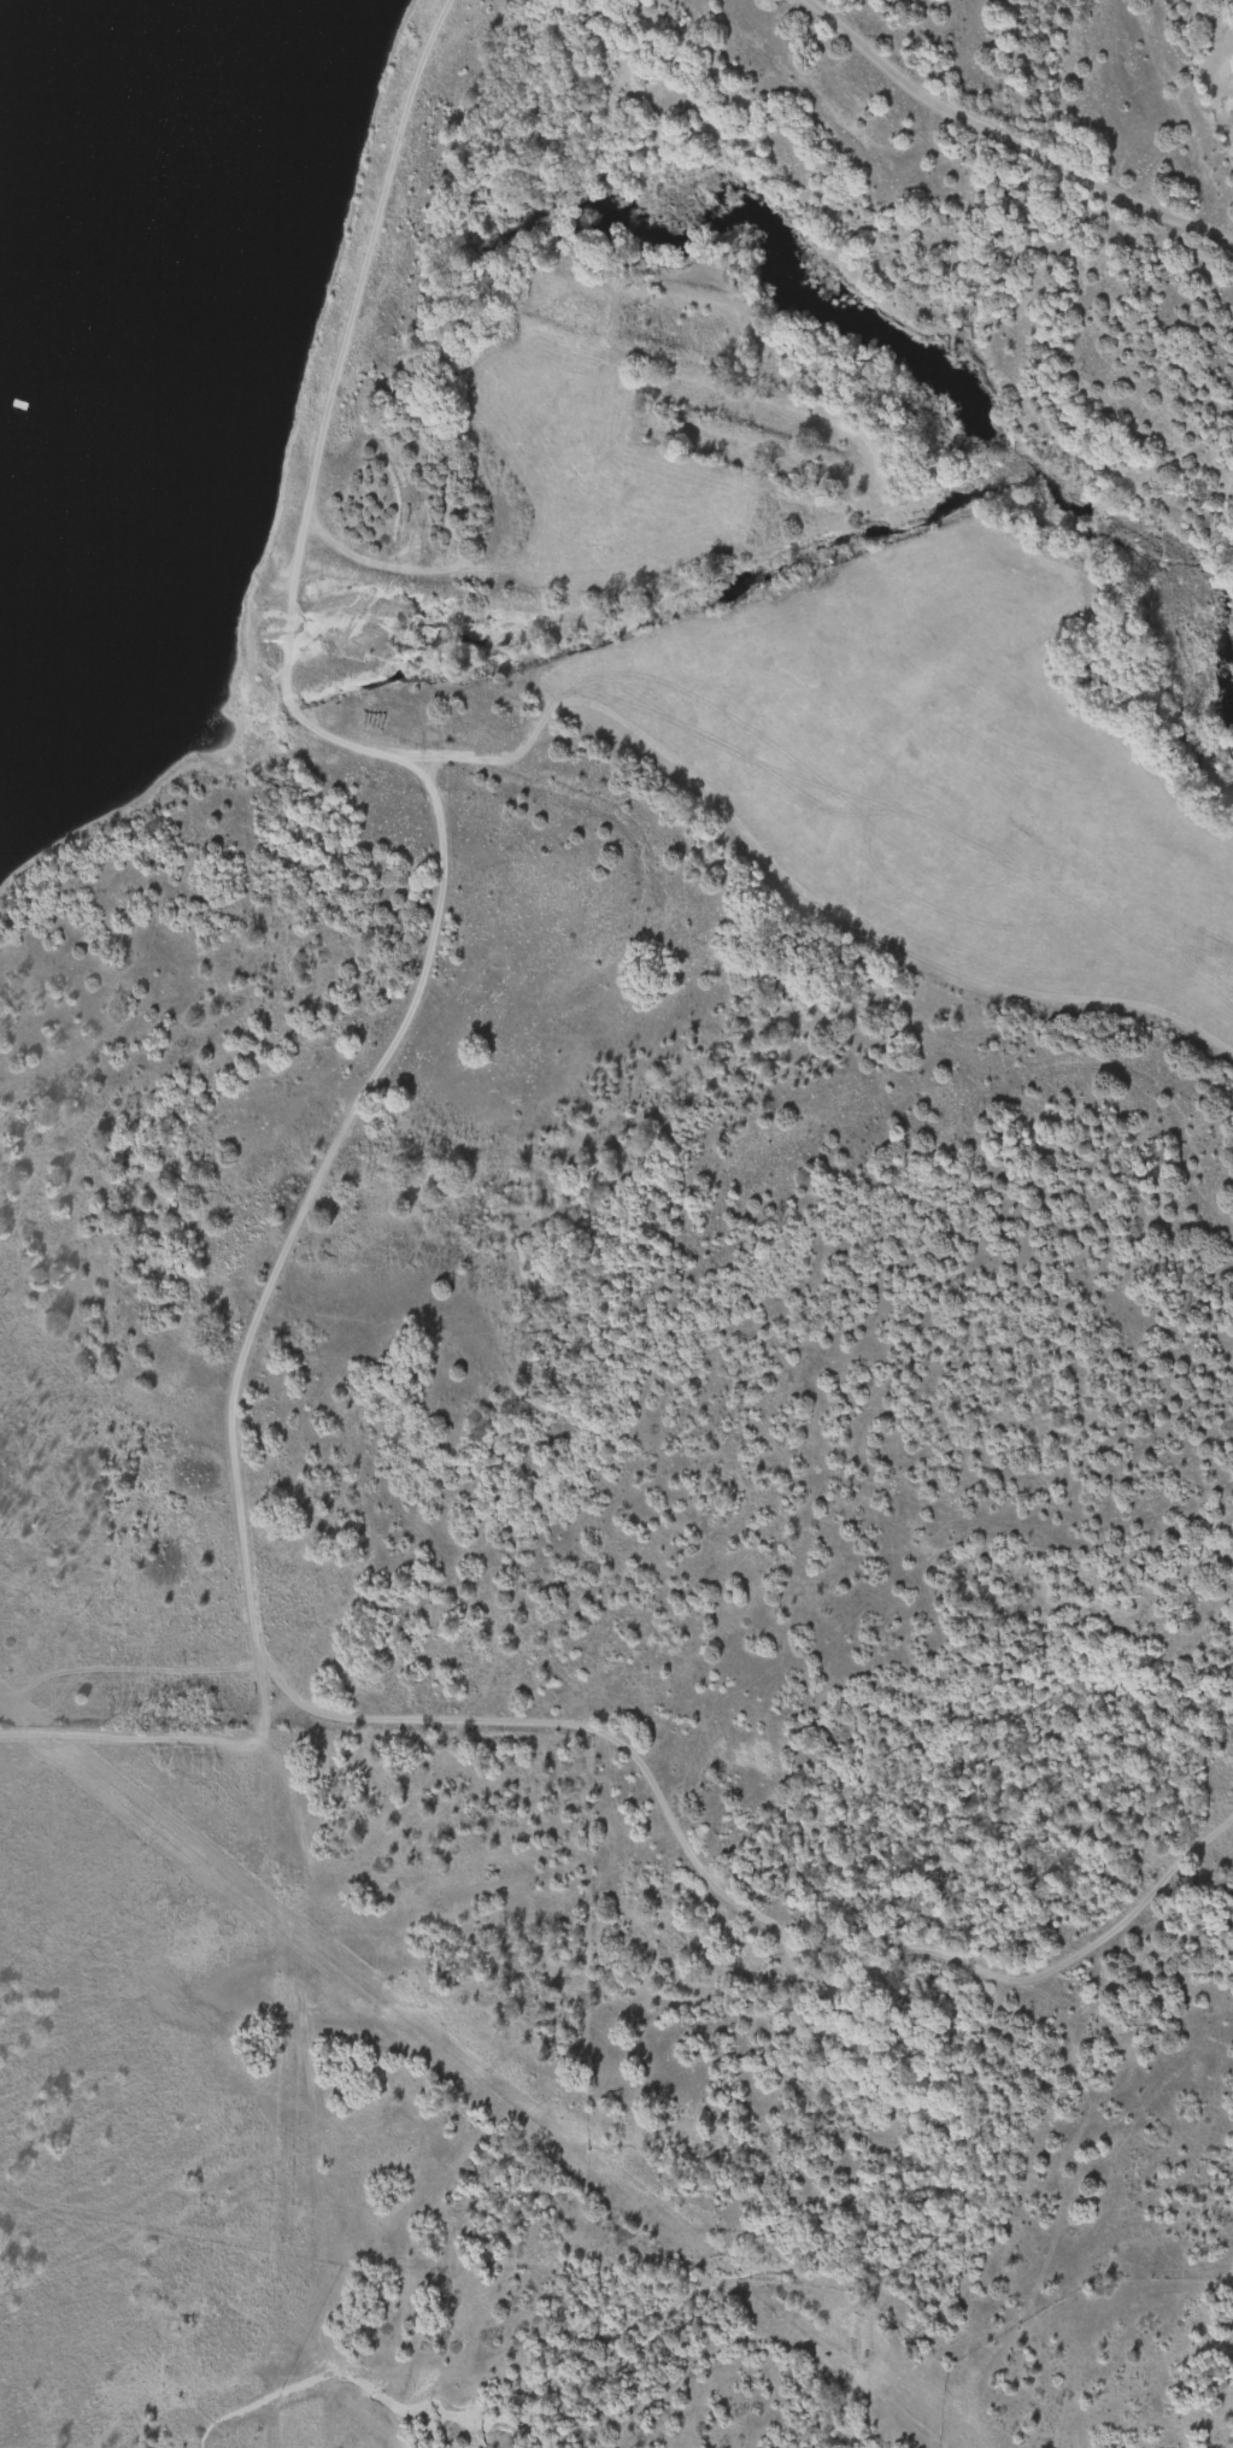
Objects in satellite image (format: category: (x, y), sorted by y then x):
road: (1005, 142)
road: (431, 855)
road: (146, 1707)

